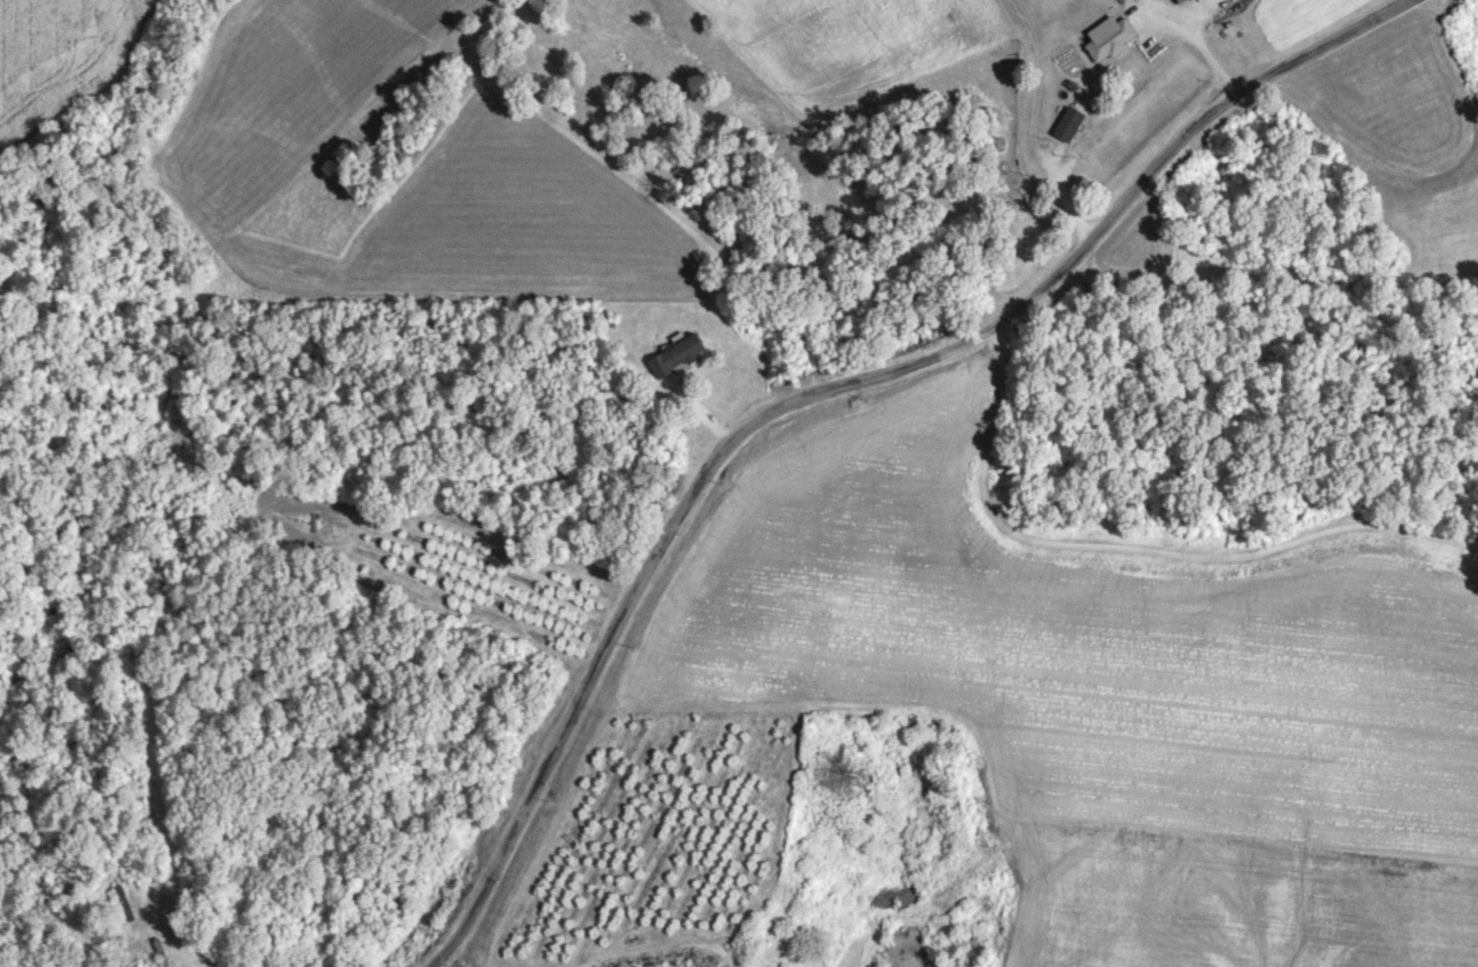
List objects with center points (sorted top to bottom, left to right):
building: (1176, 0)
crop: (1302, 17)
building: (1109, 36)
road: (1194, 40)
crop: (876, 45)
building: (1069, 122)
road: (1177, 136)
building: (1006, 208)
building: (677, 354)
road: (1134, 546)
road: (647, 573)
building: (124, 901)

